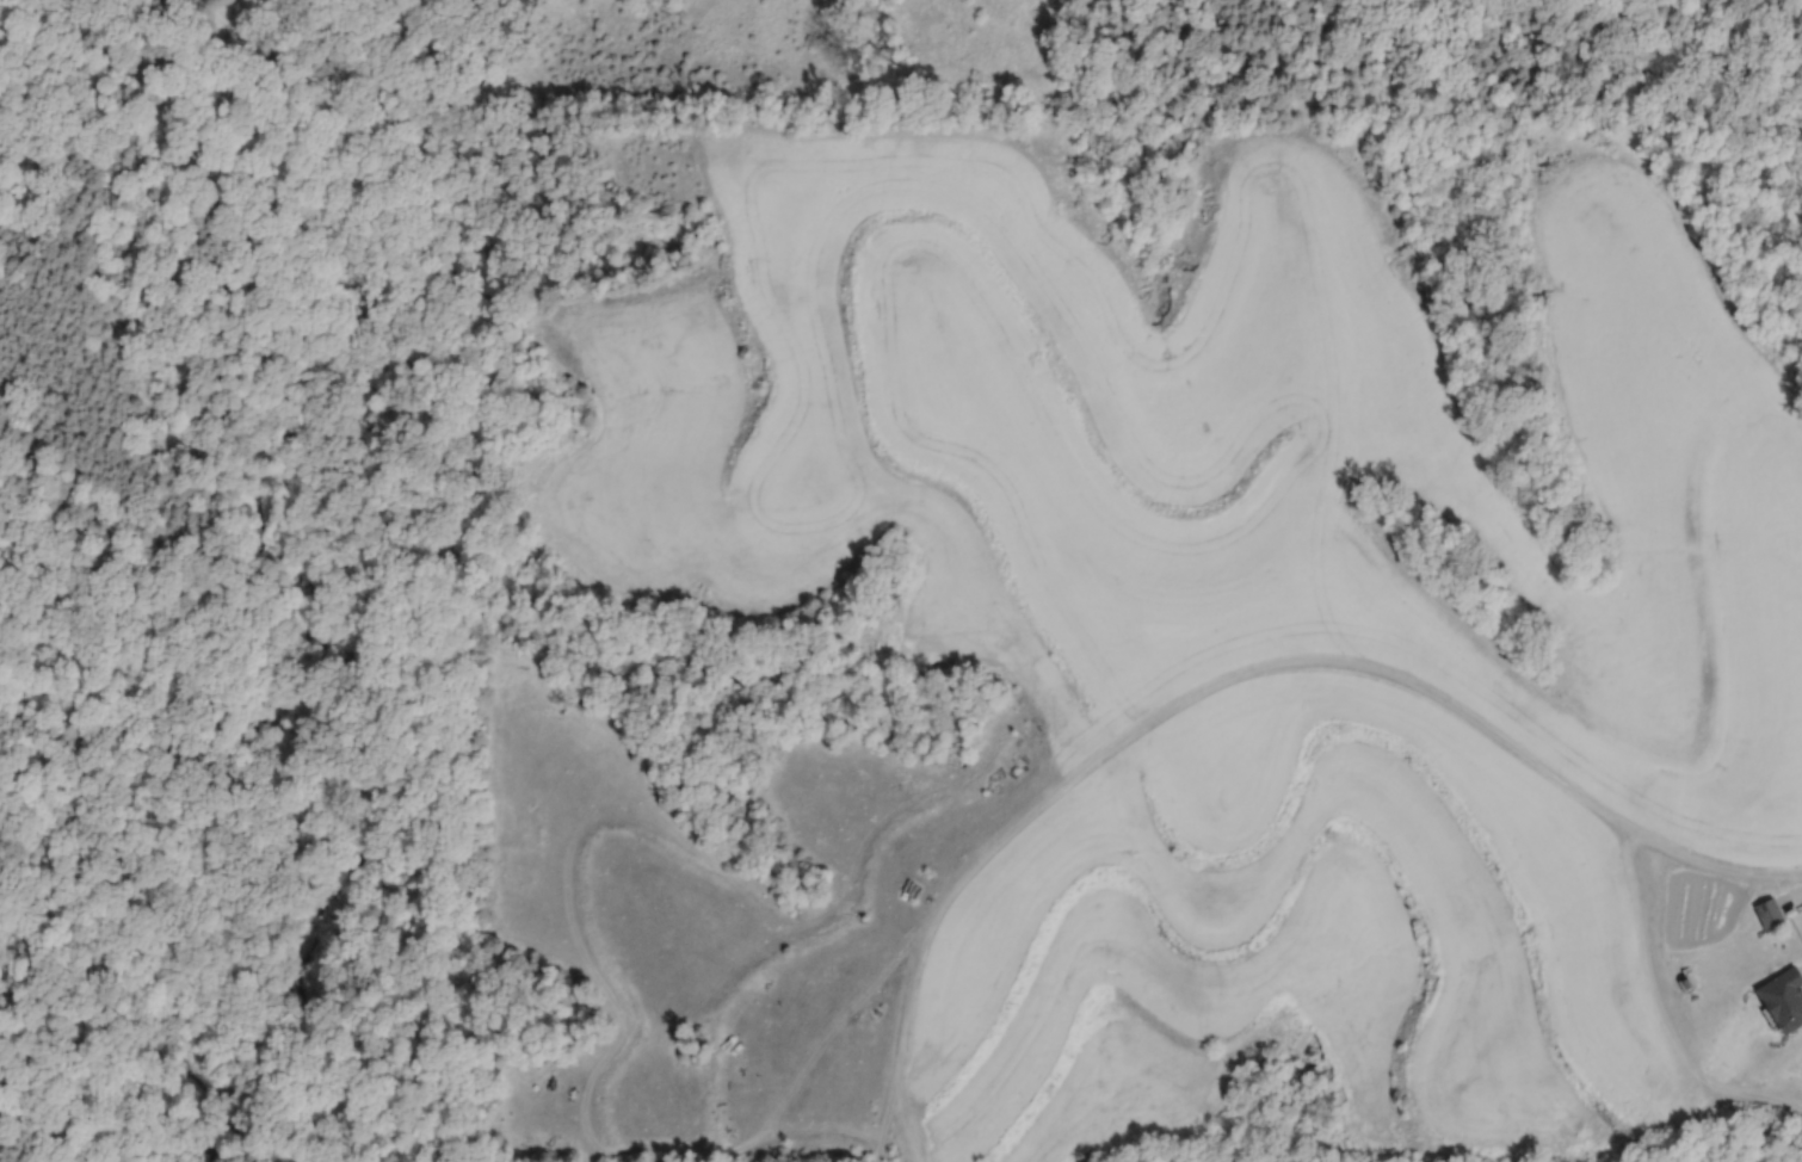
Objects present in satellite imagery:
road: (1229, 681)
building: (1765, 911)
road: (1641, 913)
road: (586, 960)
building: (1781, 999)

